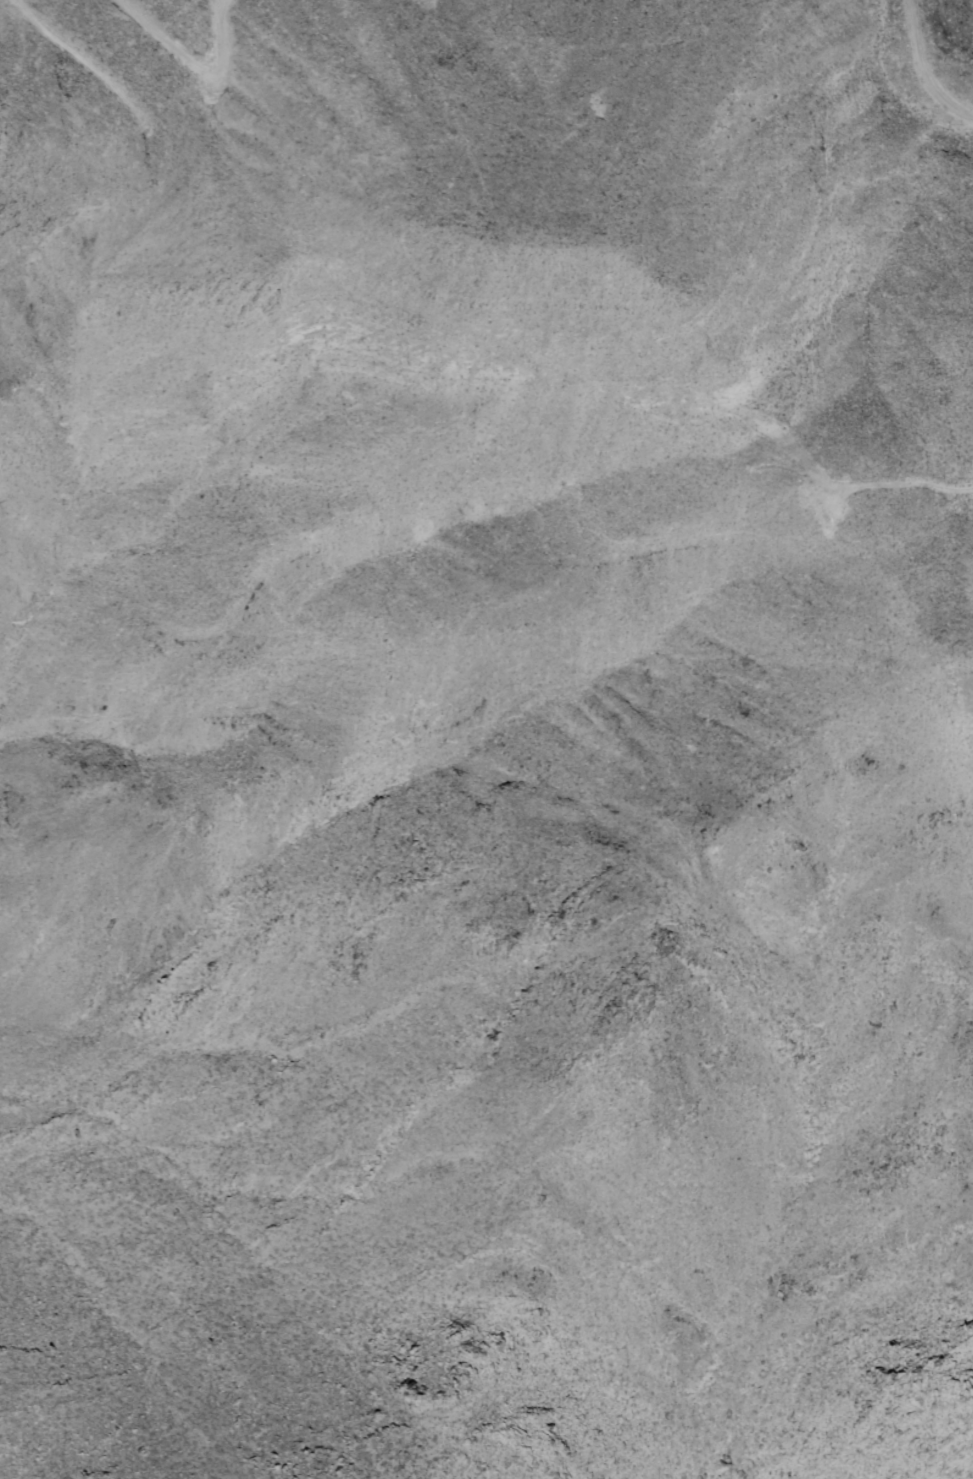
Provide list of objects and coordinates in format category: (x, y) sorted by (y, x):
road: (925, 70)

